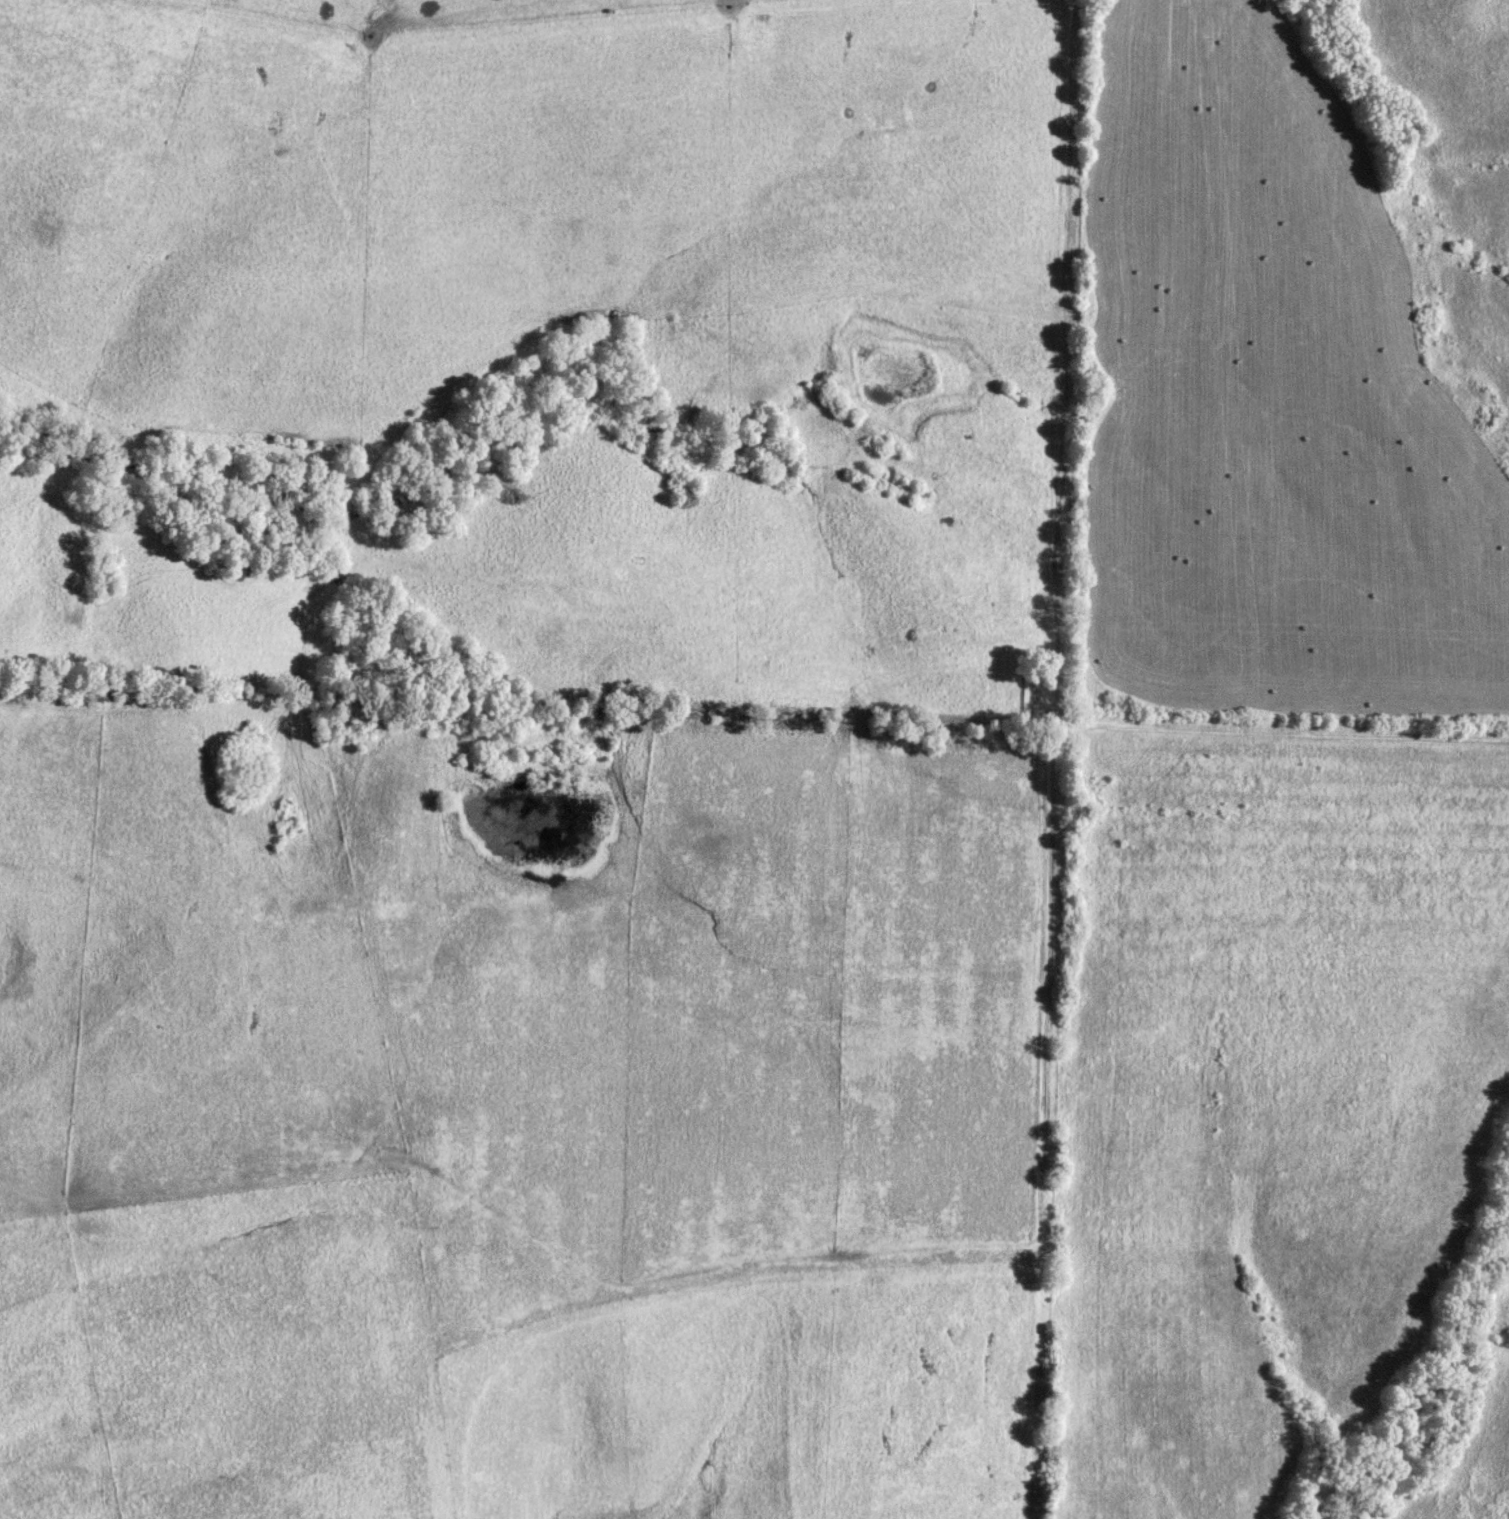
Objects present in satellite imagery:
road: (522, 572)
road: (1283, 729)
road: (1056, 759)

